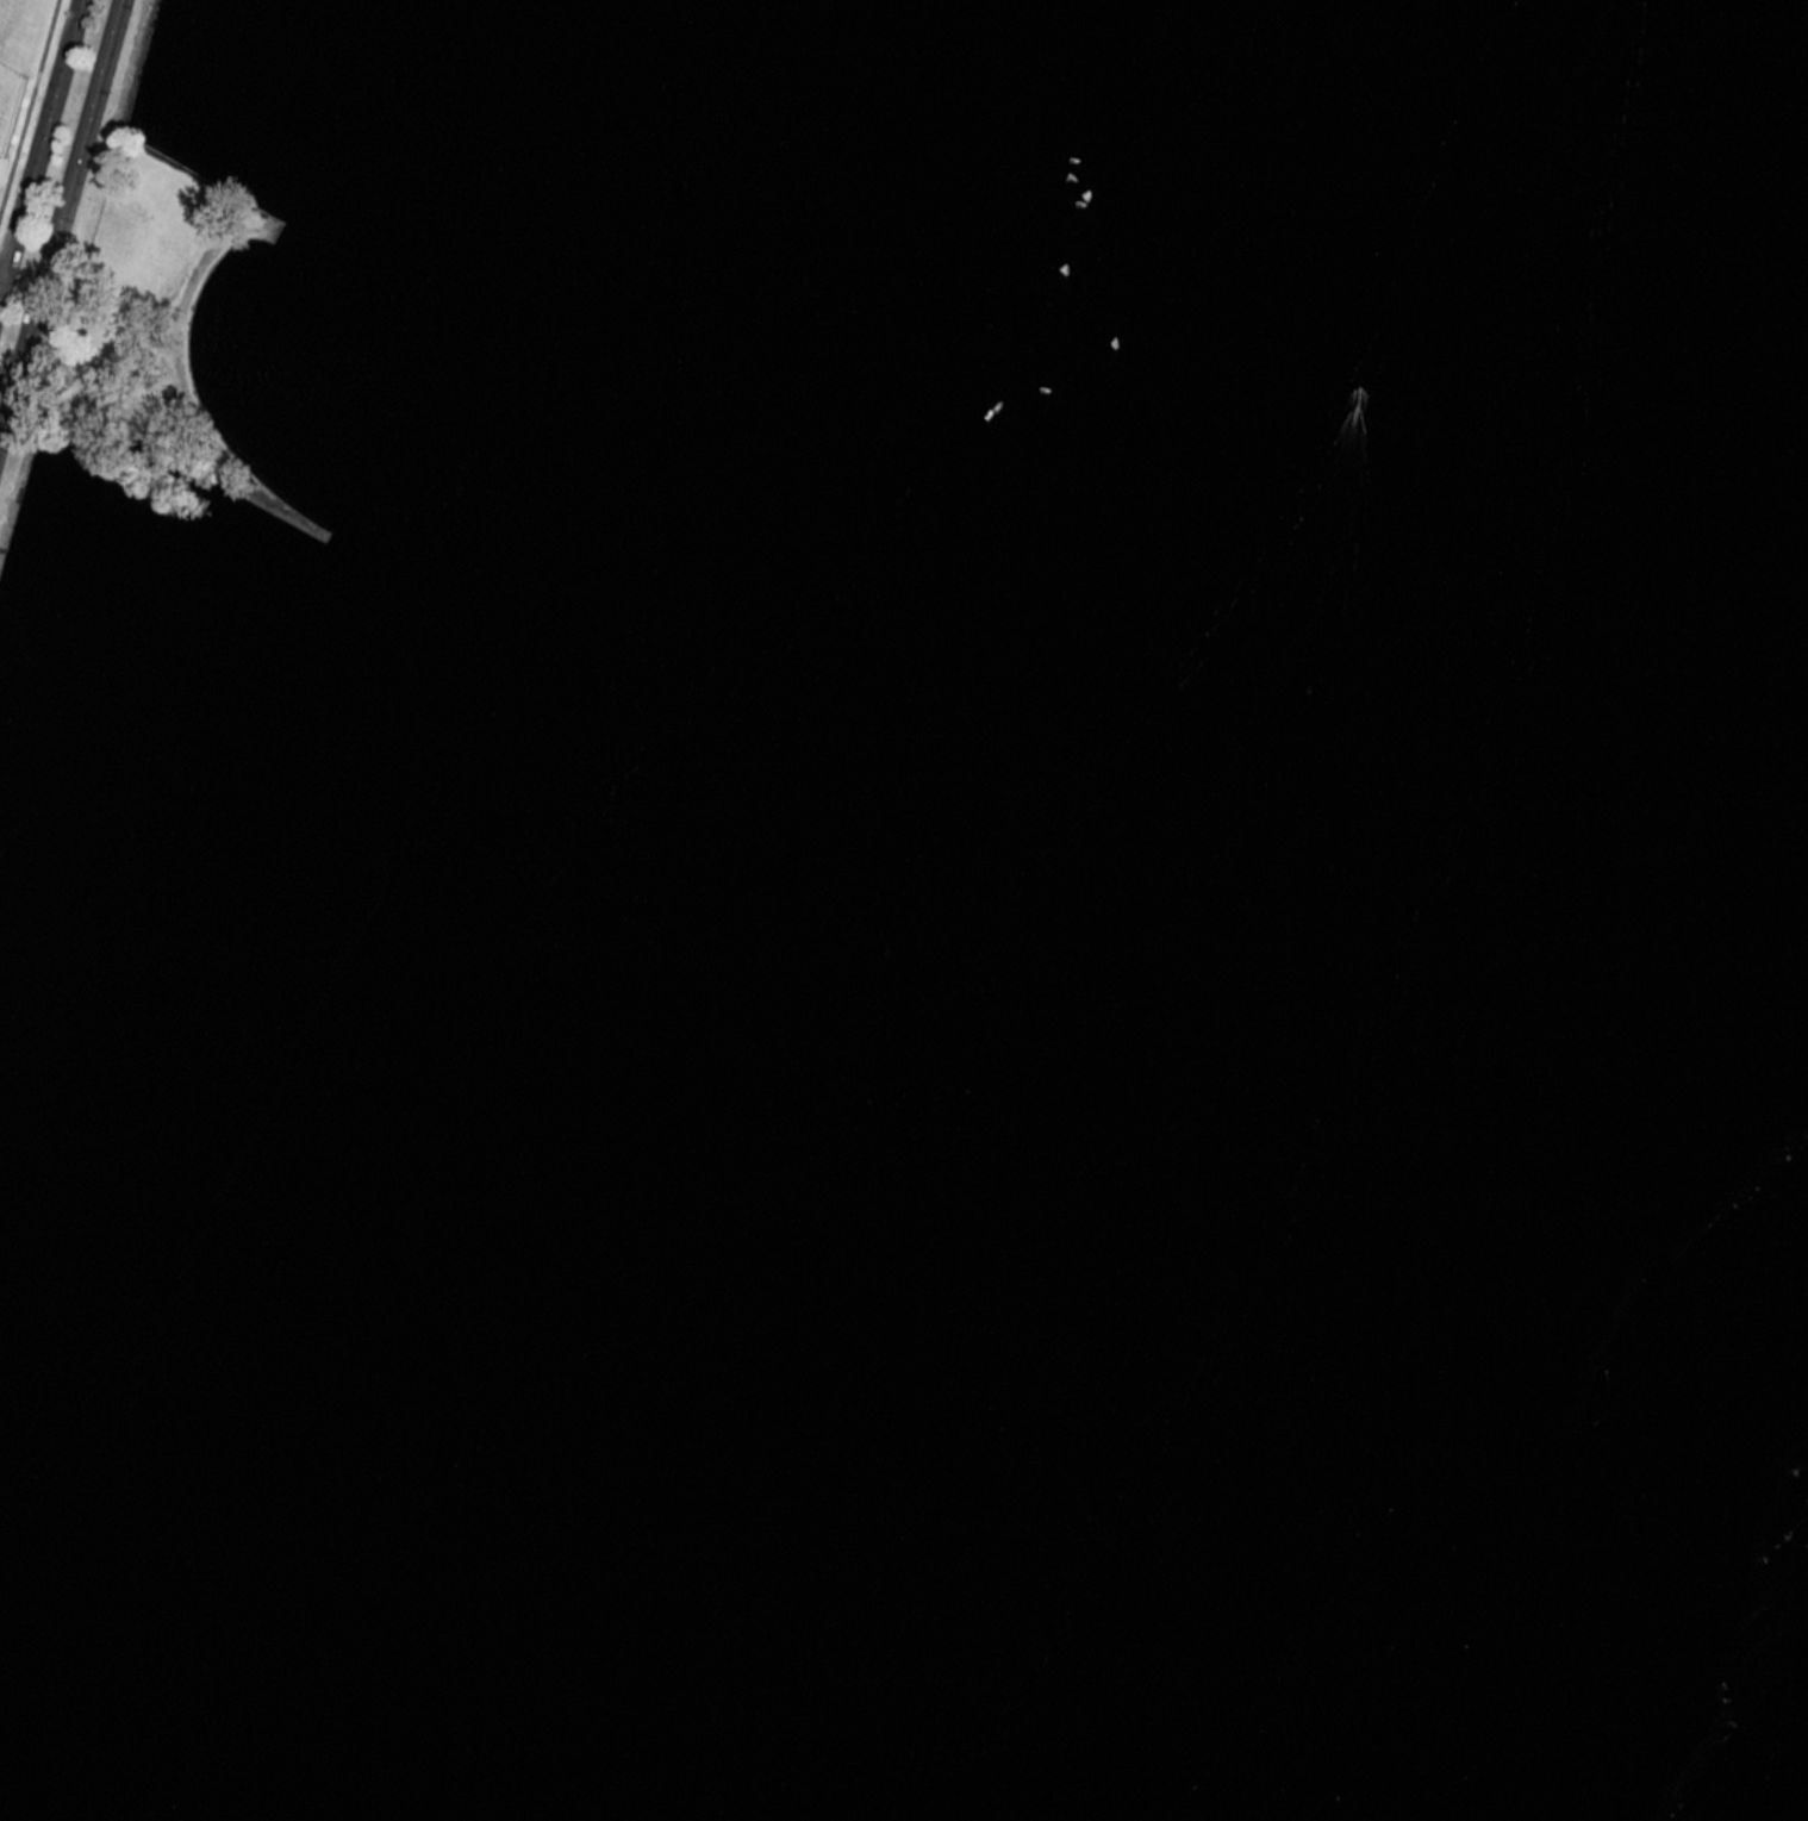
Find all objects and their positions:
road: (38, 136)
road: (60, 212)
road: (5, 383)

